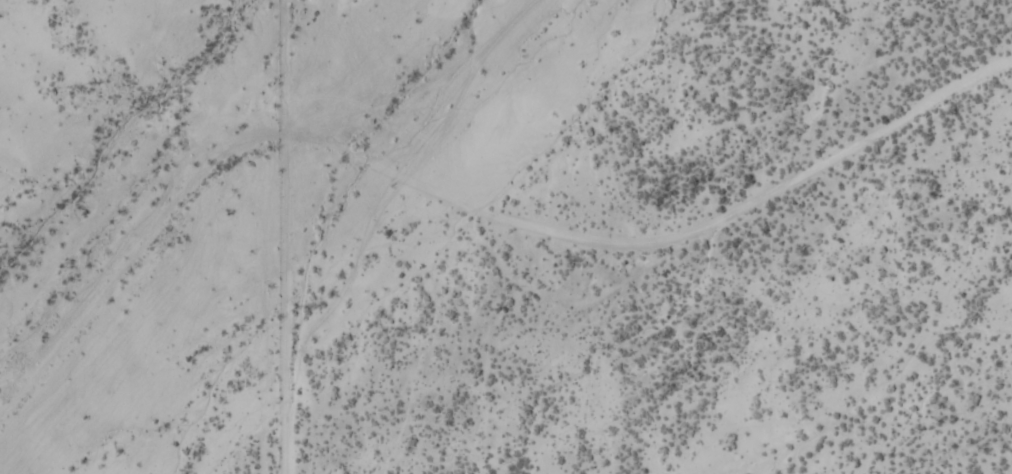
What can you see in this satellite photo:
road: (455, 84)
road: (285, 237)
road: (660, 241)
road: (125, 244)

